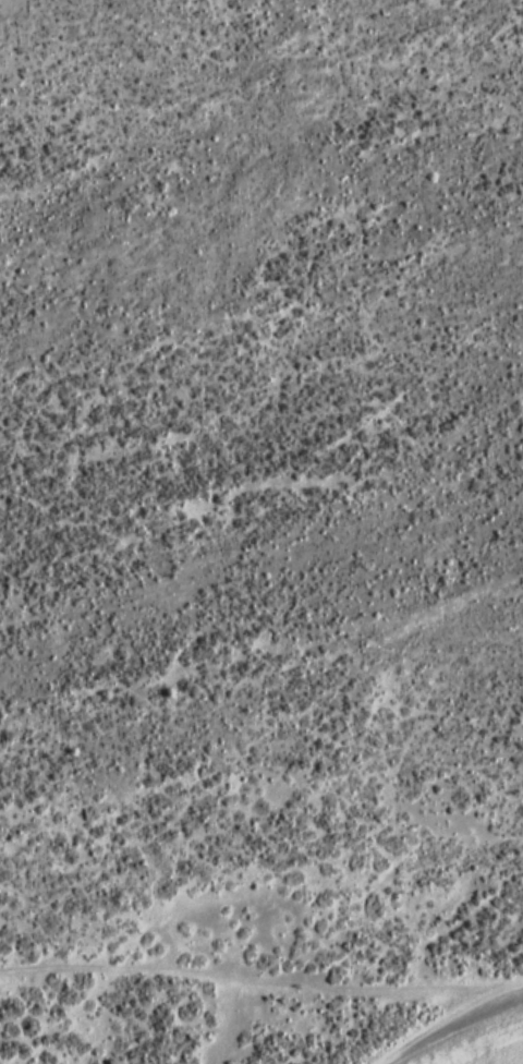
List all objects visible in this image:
crop: (479, 1039)

